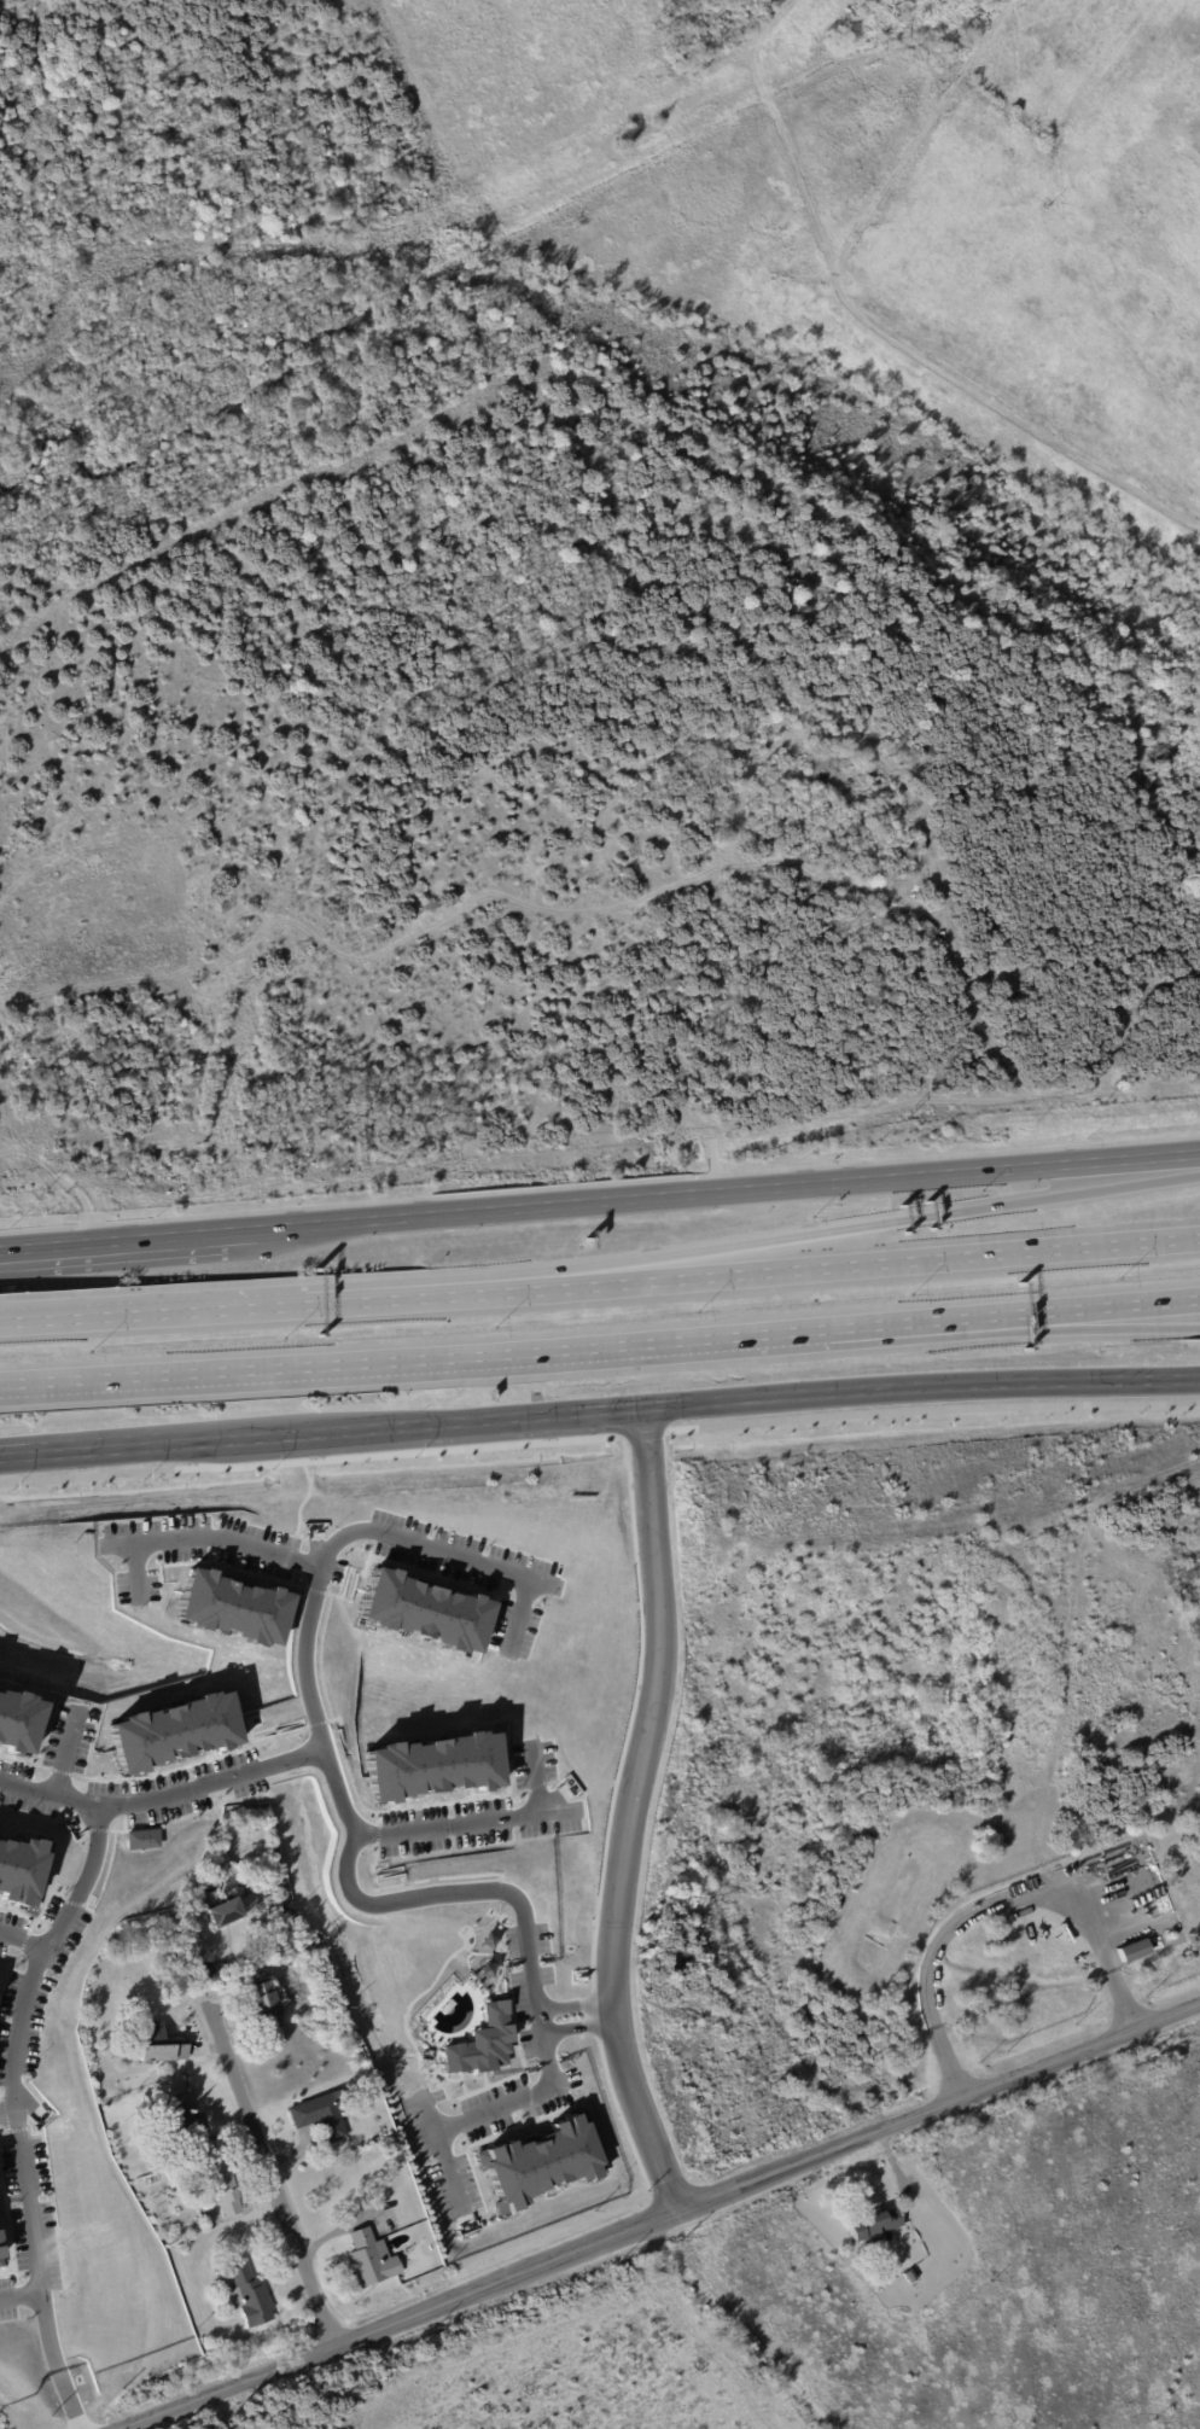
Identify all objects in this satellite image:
landfill: (876, 194)
building: (825, 759)
road: (916, 1173)
road: (447, 1211)
road: (831, 1230)
road: (130, 1239)
road: (831, 1259)
road: (380, 1294)
road: (150, 1307)
road: (1053, 1313)
road: (1053, 1329)
road: (453, 1357)
road: (925, 1385)
road: (926, 1406)
road: (488, 1416)
road: (244, 1435)
road: (81, 1449)
road: (326, 1454)
road: (200, 1533)
building: (231, 1607)
building: (421, 1612)
building: (18, 1722)
road: (316, 1730)
building: (171, 1731)
road: (66, 1763)
building: (431, 1766)
road: (49, 1799)
road: (637, 1807)
road: (473, 1822)
building: (21, 1870)
road: (989, 1901)
building: (226, 1914)
road: (22, 1949)
building: (1131, 1950)
road: (34, 1998)
building: (269, 2006)
road: (582, 2021)
building: (482, 2044)
building: (162, 2045)
road: (517, 2098)
building: (321, 2118)
road: (12, 2122)
building: (182, 2124)
road: (266, 2148)
road: (438, 2148)
building: (540, 2162)
building: (225, 2186)
road: (646, 2212)
building: (879, 2225)
building: (373, 2261)
building: (913, 2276)
building: (250, 2296)
road: (22, 2303)
road: (735, 2324)

